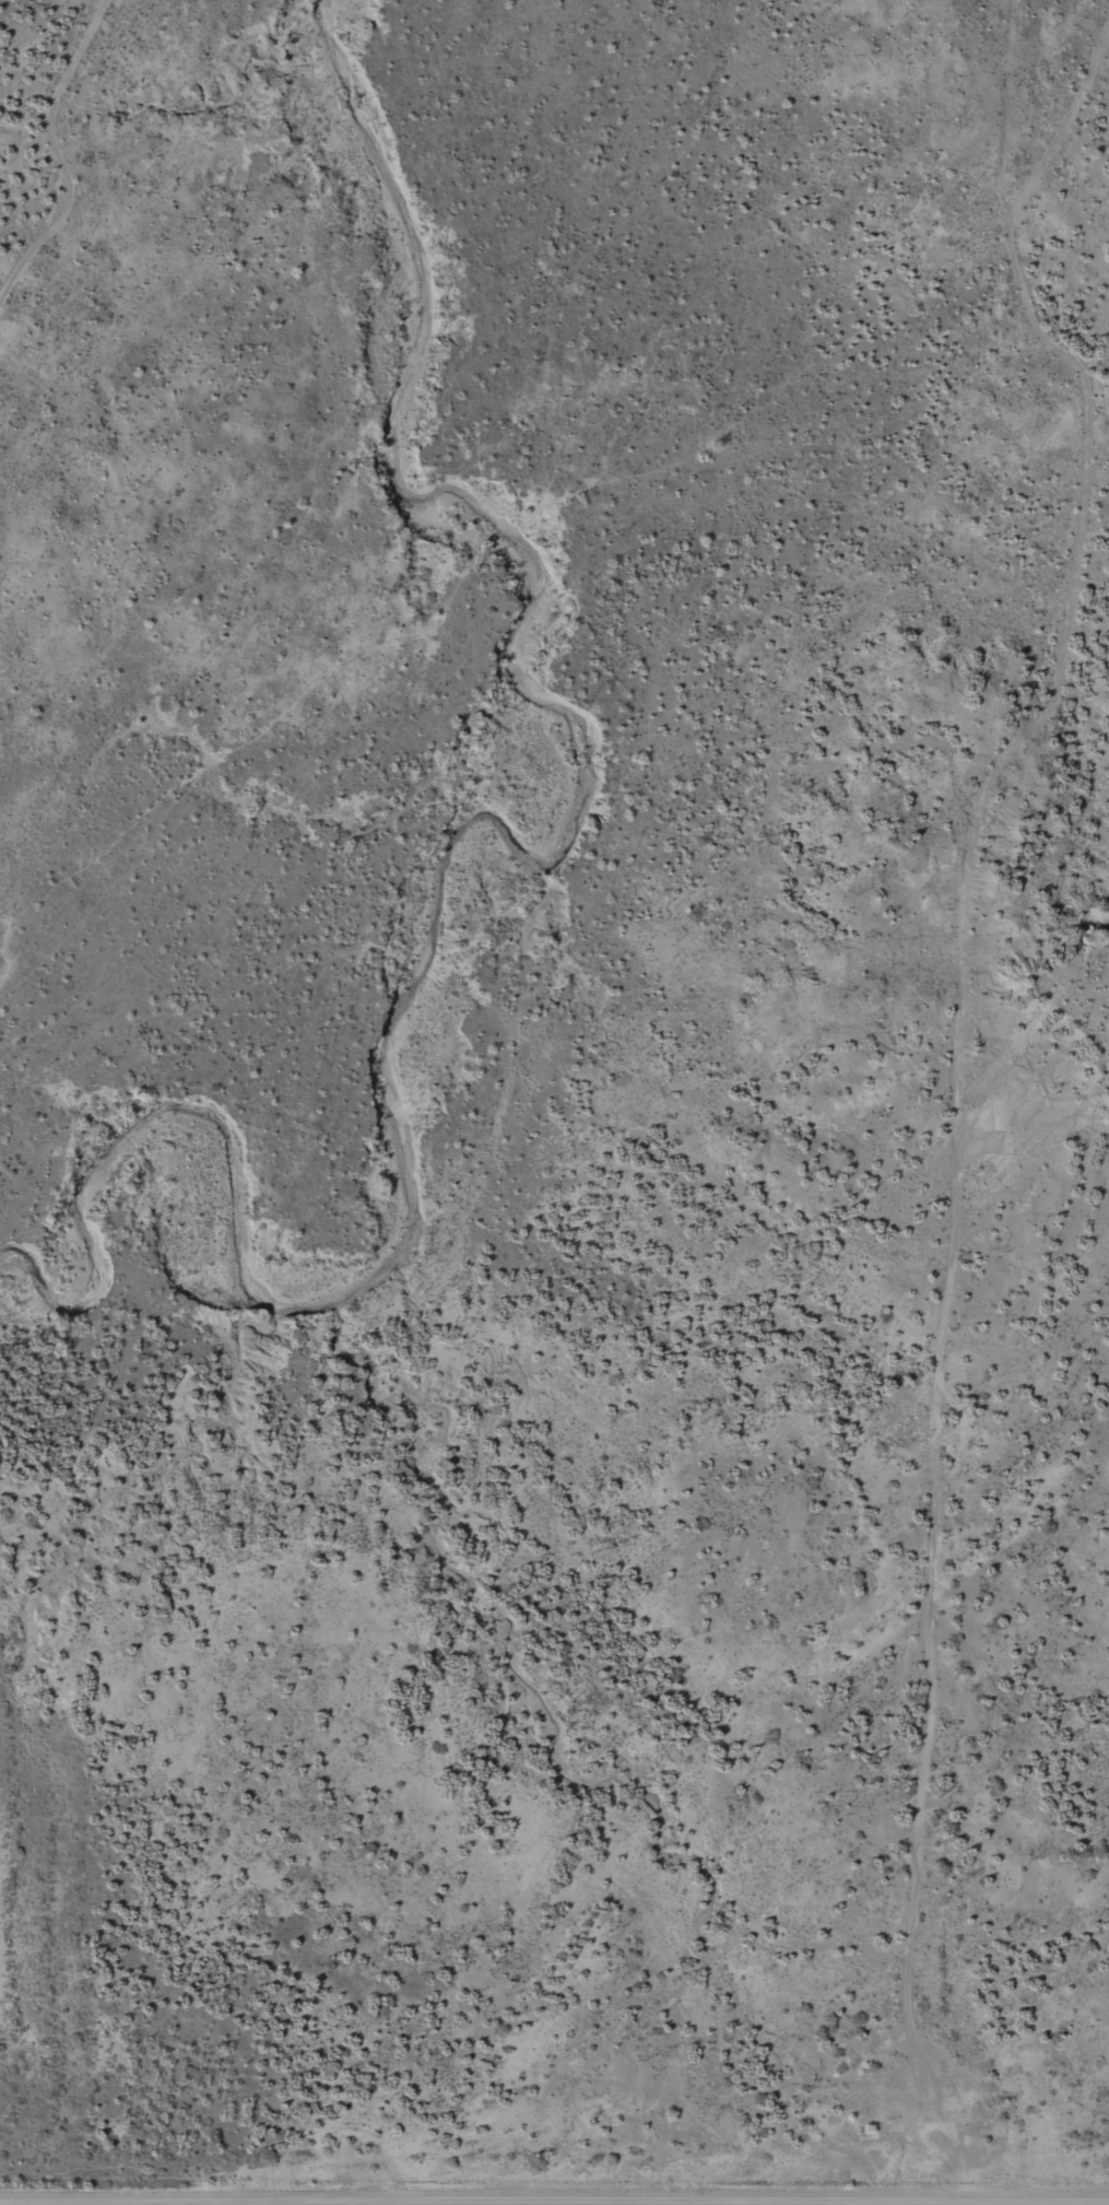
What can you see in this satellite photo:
road: (947, 1072)

